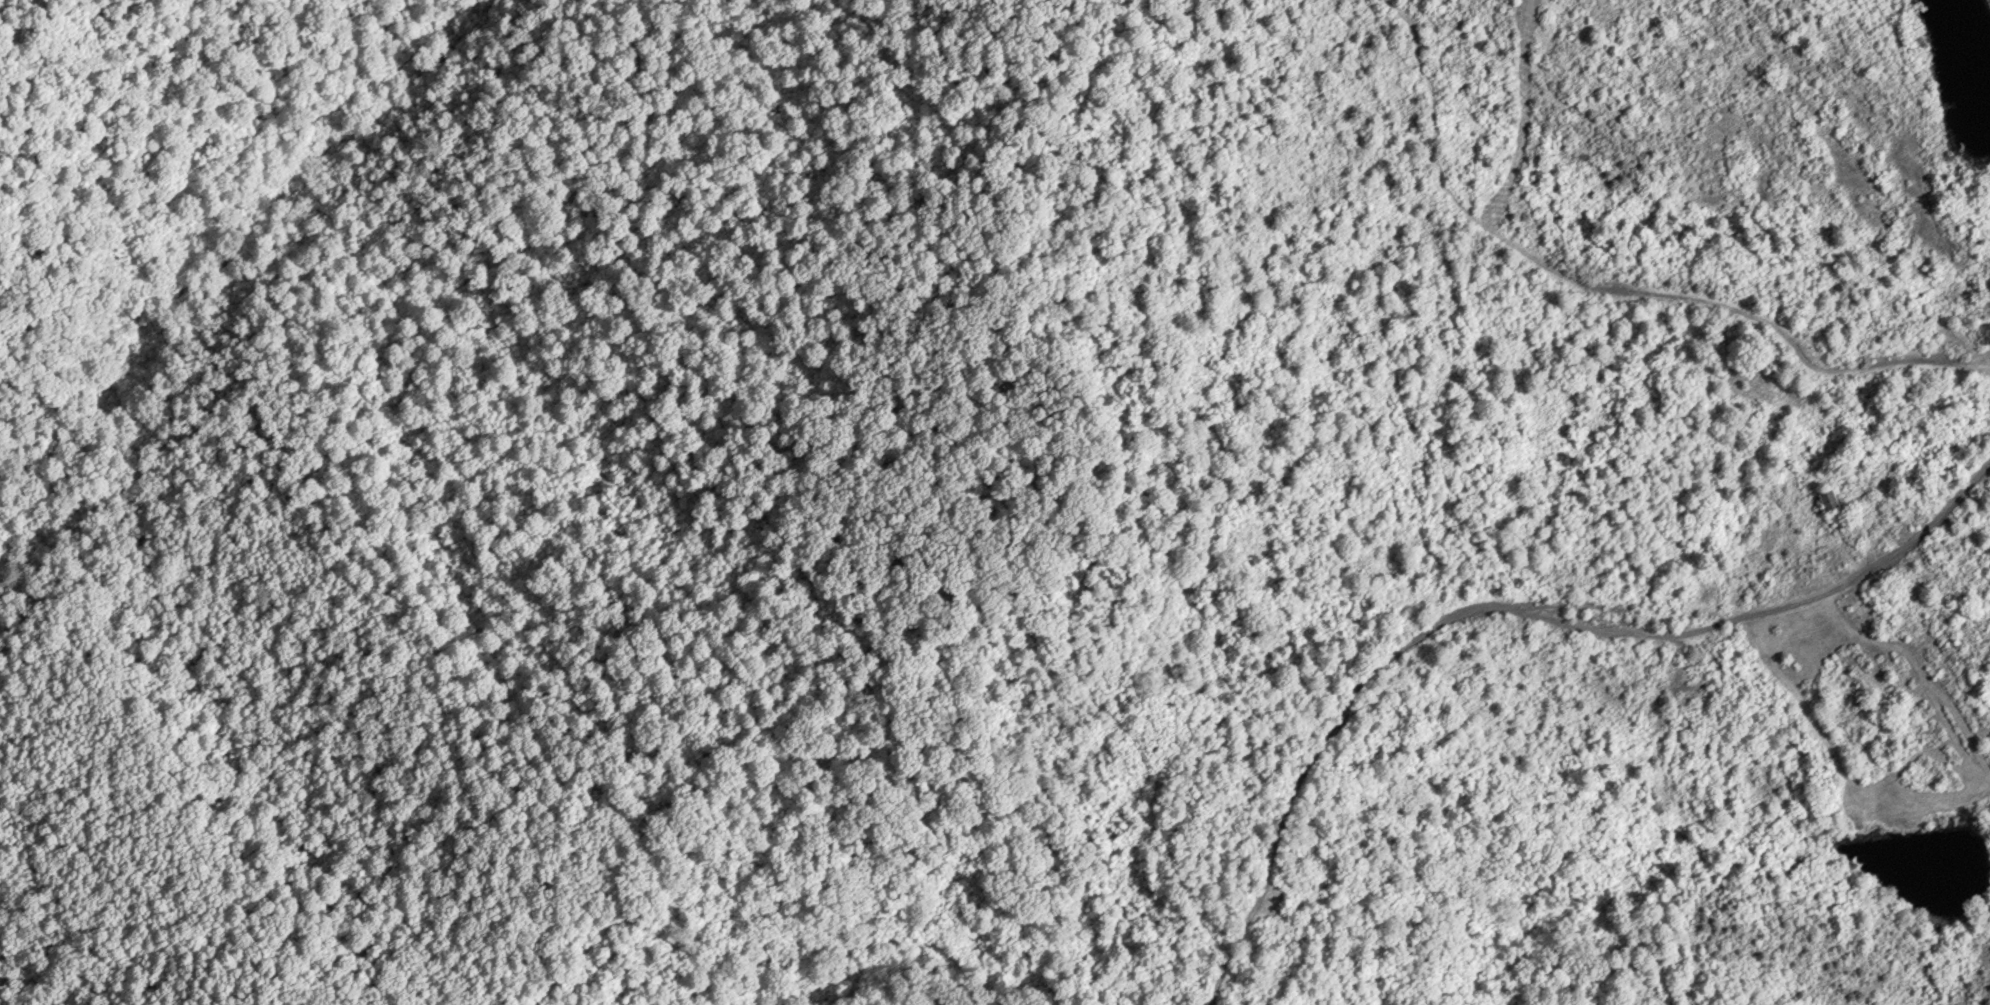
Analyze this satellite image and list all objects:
road: (1609, 291)
building: (1985, 332)
building: (1829, 499)
road: (1509, 611)
road: (1152, 801)

